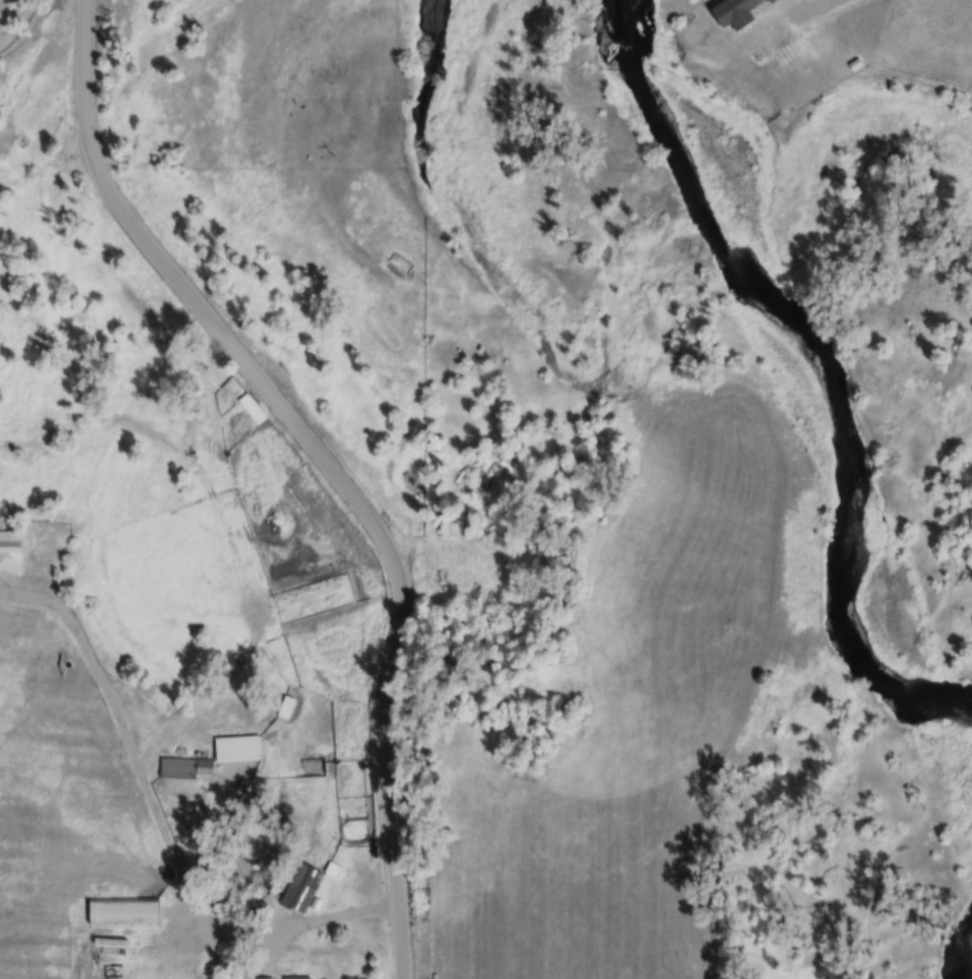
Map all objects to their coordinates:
river: (809, 370)
building: (252, 408)
road: (320, 460)
building: (10, 550)
building: (286, 707)
building: (185, 767)
road: (160, 821)
building: (301, 887)
building: (123, 913)
river: (961, 961)
building: (265, 978)
building: (297, 978)

